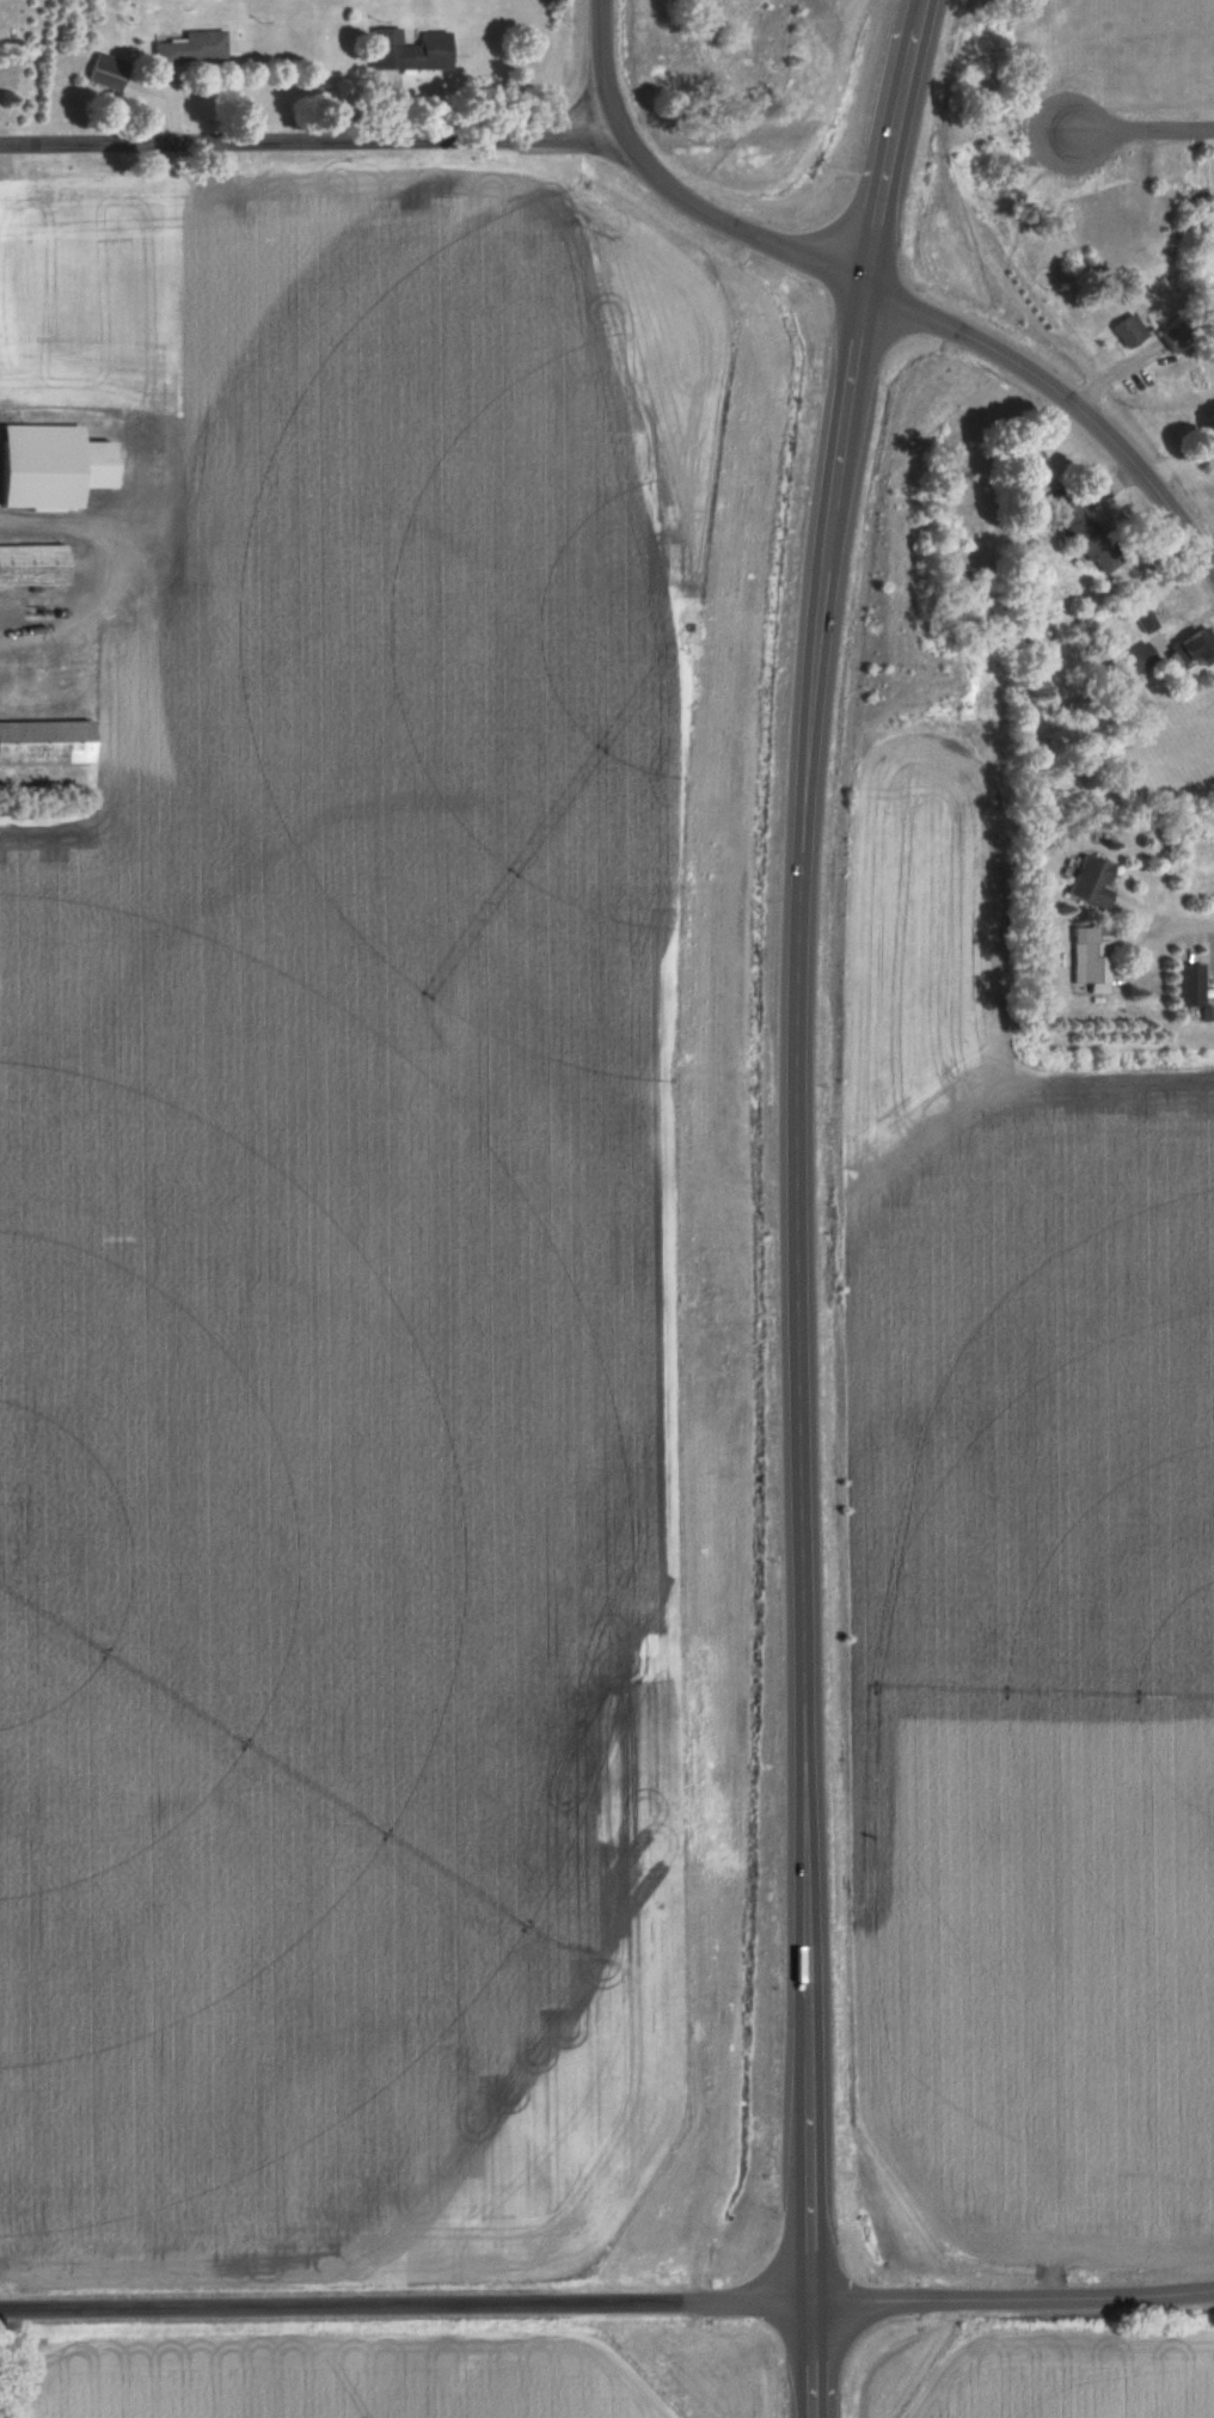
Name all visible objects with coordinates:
building: (190, 49)
building: (410, 50)
building: (108, 72)
road: (1146, 137)
road: (313, 139)
road: (889, 287)
building: (1130, 331)
building: (1178, 336)
building: (53, 467)
building: (1090, 539)
building: (33, 567)
building: (1195, 650)
building: (1141, 659)
building: (47, 743)
building: (1092, 882)
road: (1184, 919)
building: (1092, 955)
building: (1190, 987)
road: (814, 1202)
road: (1139, 2296)
road: (940, 2300)
road: (409, 2307)
crop: (1085, 2375)
crop: (355, 2386)

